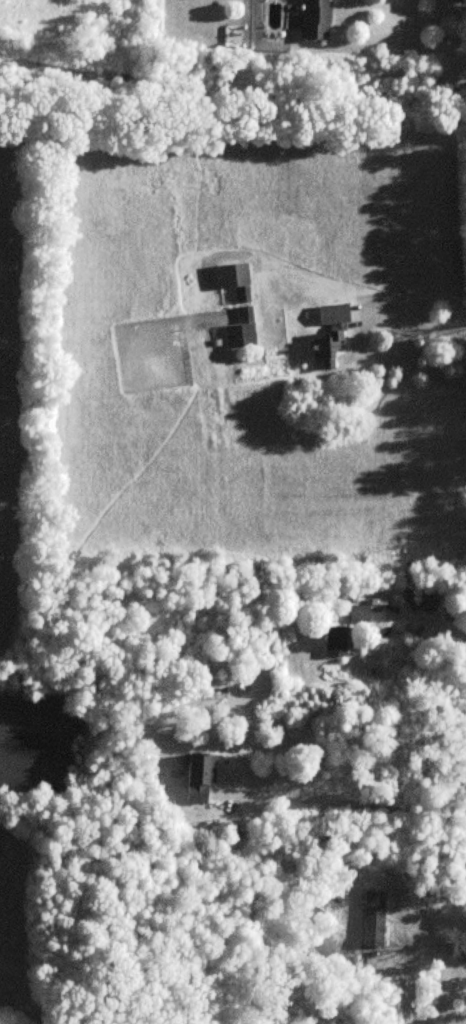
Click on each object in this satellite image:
building: (318, 19)
building: (239, 304)
road: (415, 318)
building: (331, 336)
building: (361, 613)
road: (426, 617)
building: (338, 642)
building: (202, 776)
road: (351, 801)
road: (398, 984)

